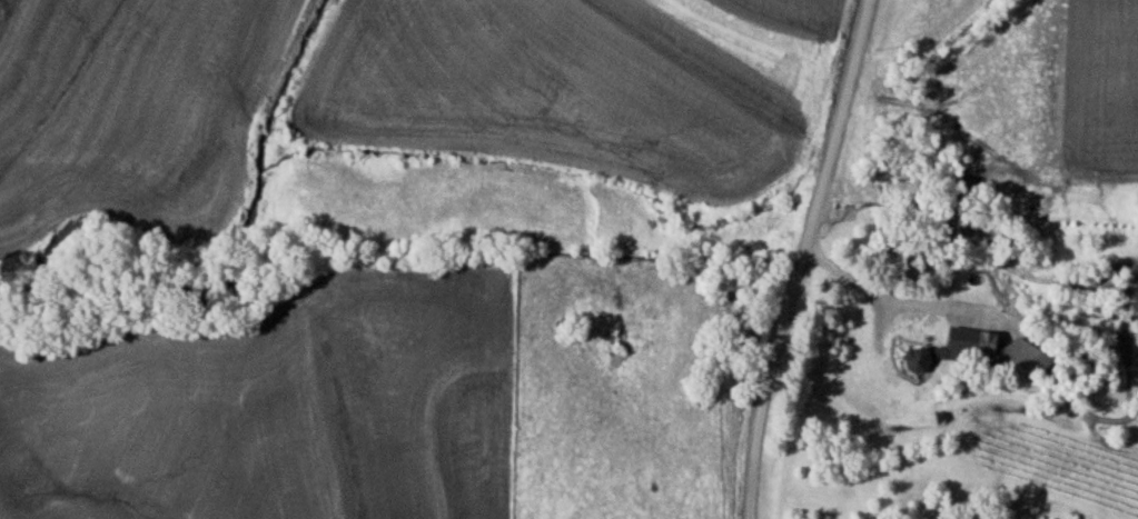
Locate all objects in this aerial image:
road: (792, 258)
building: (990, 348)

